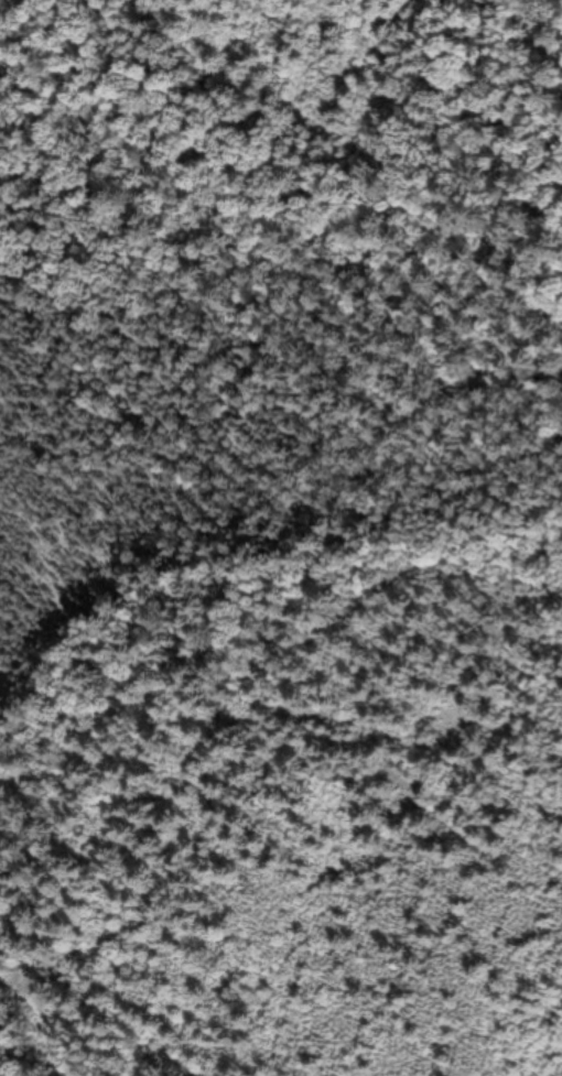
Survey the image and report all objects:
park: (281, 537)

